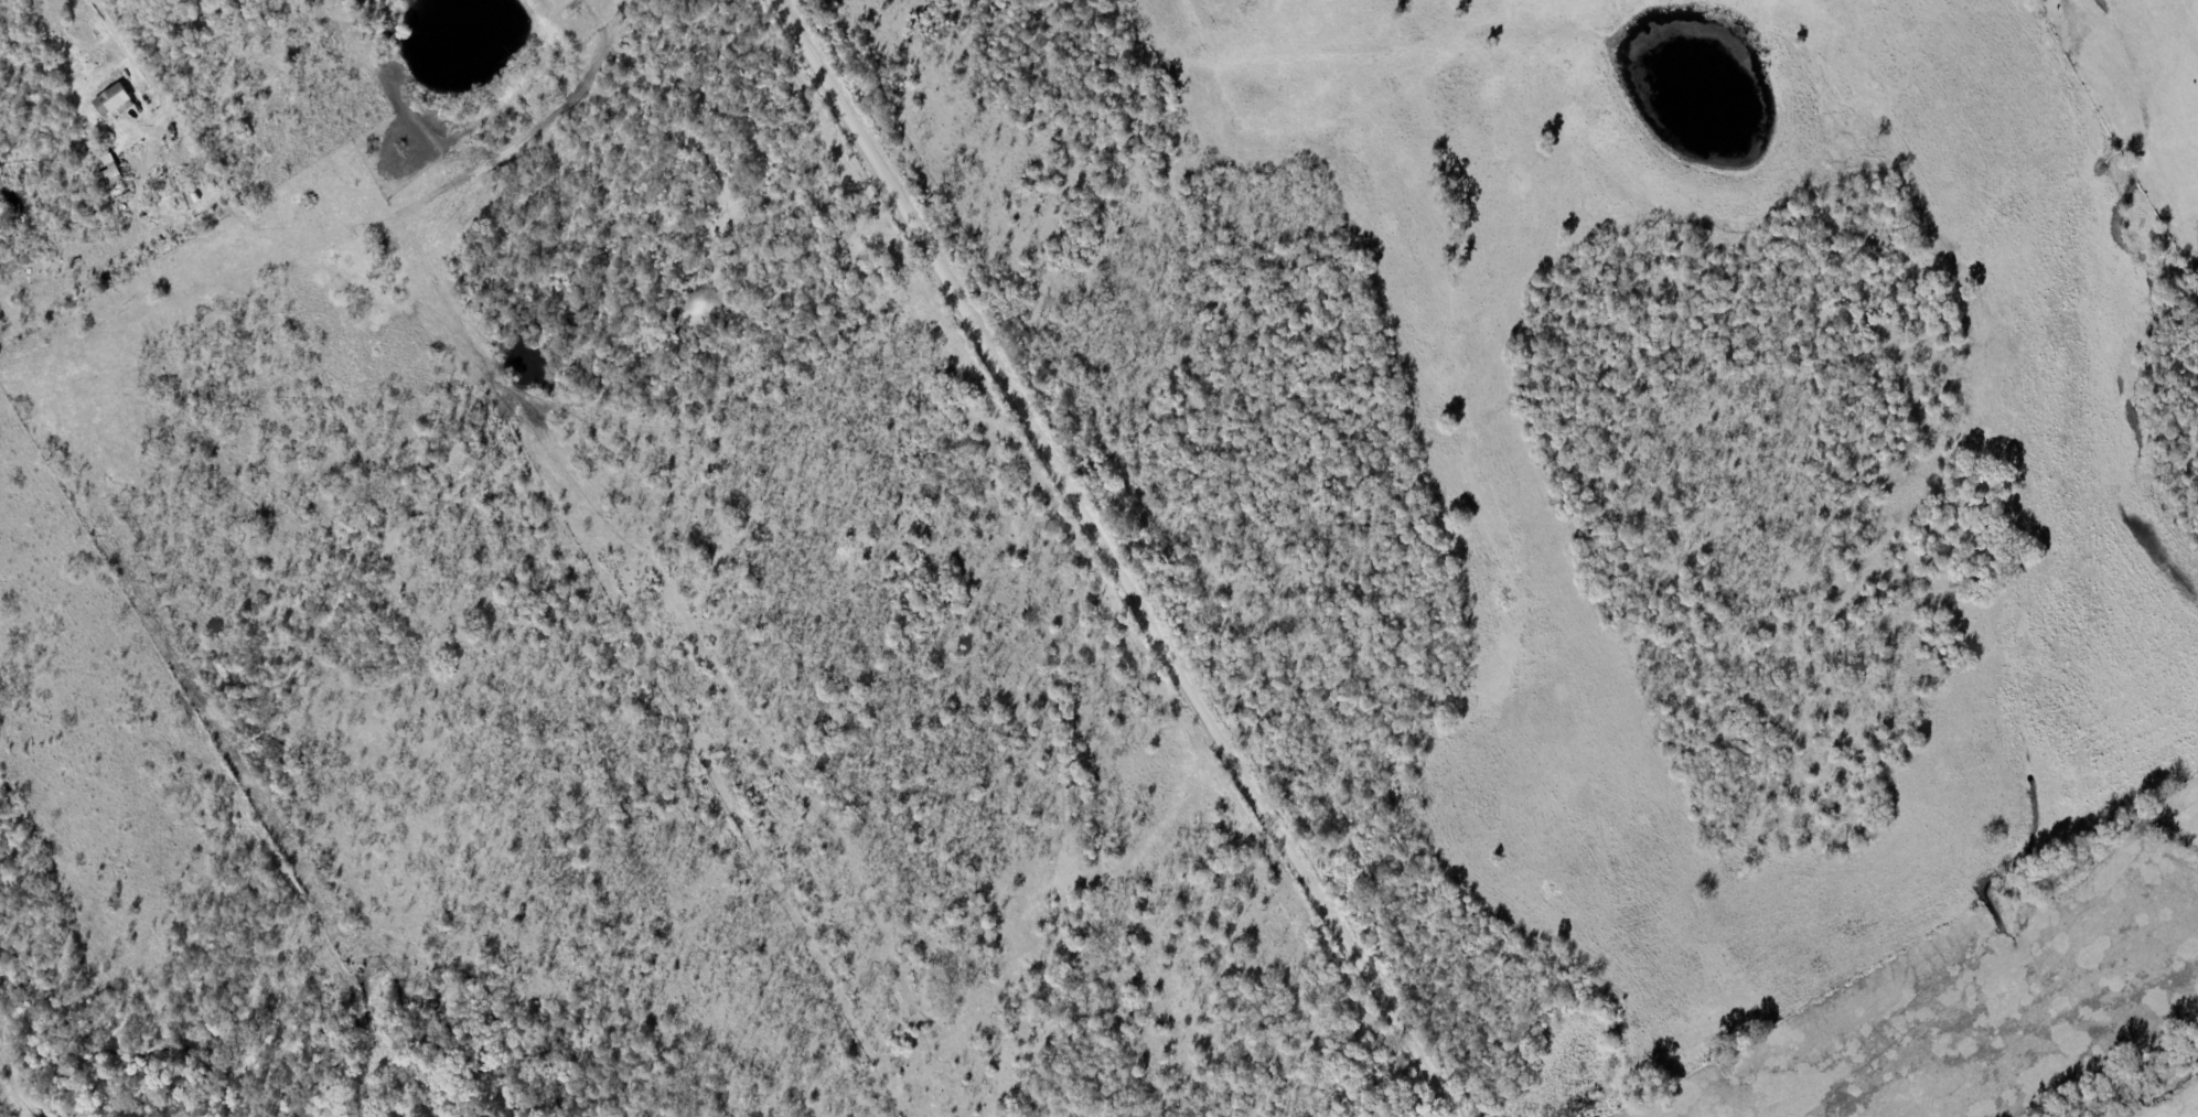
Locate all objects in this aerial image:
building: (110, 101)
road: (2102, 163)
building: (107, 173)
road: (1122, 560)

